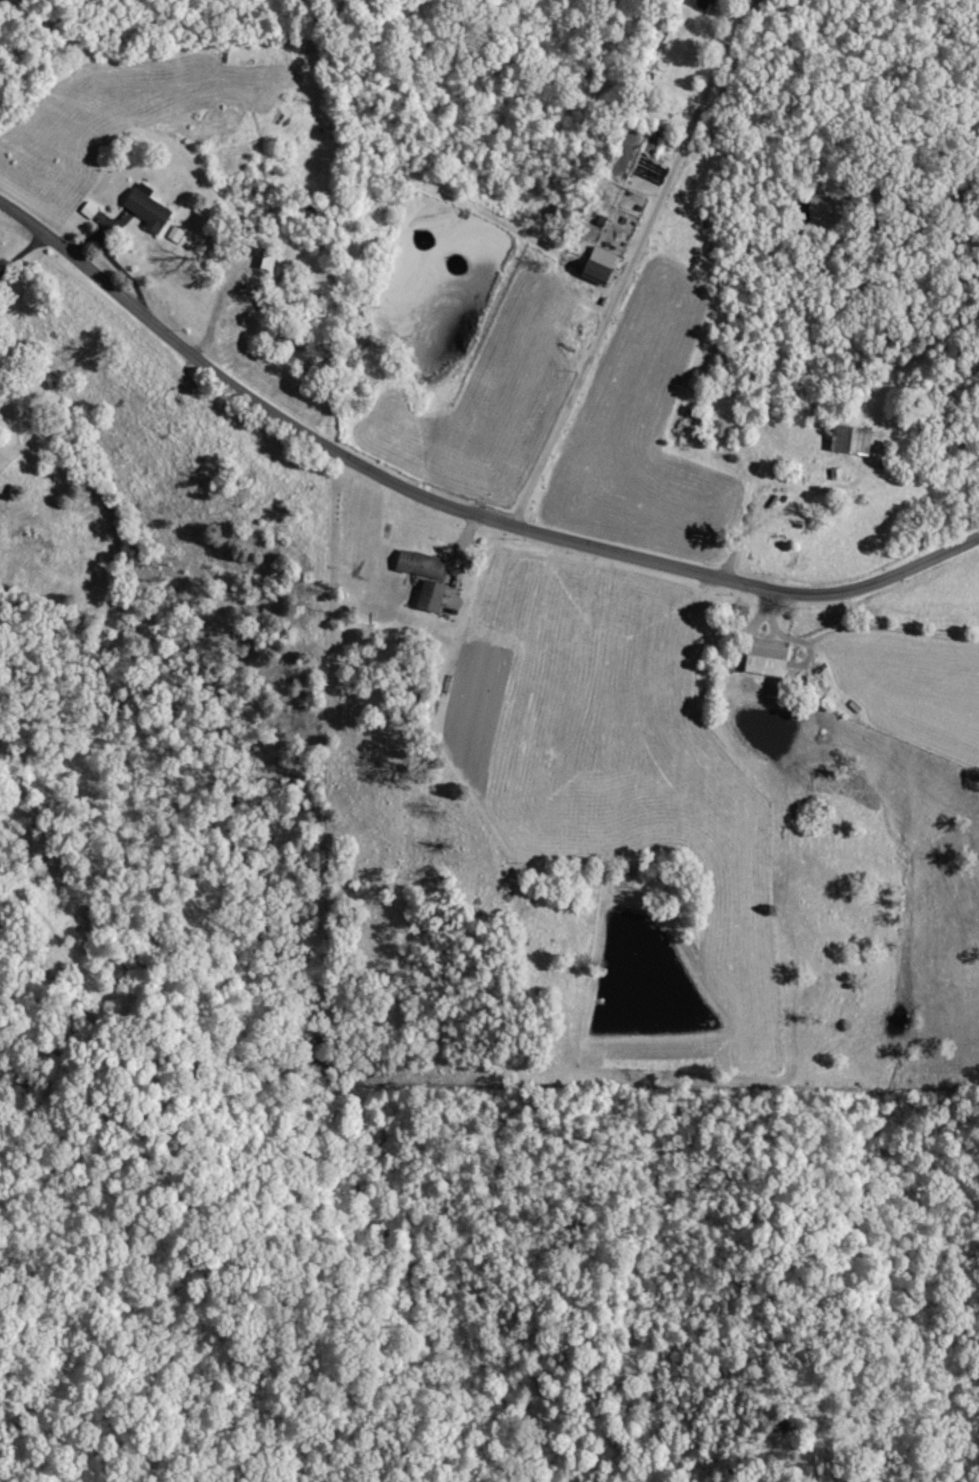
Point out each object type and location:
building: (706, 3)
building: (152, 208)
building: (92, 210)
building: (178, 233)
road: (23, 255)
road: (633, 264)
building: (604, 267)
building: (846, 438)
road: (452, 508)
building: (423, 576)
building: (759, 656)

